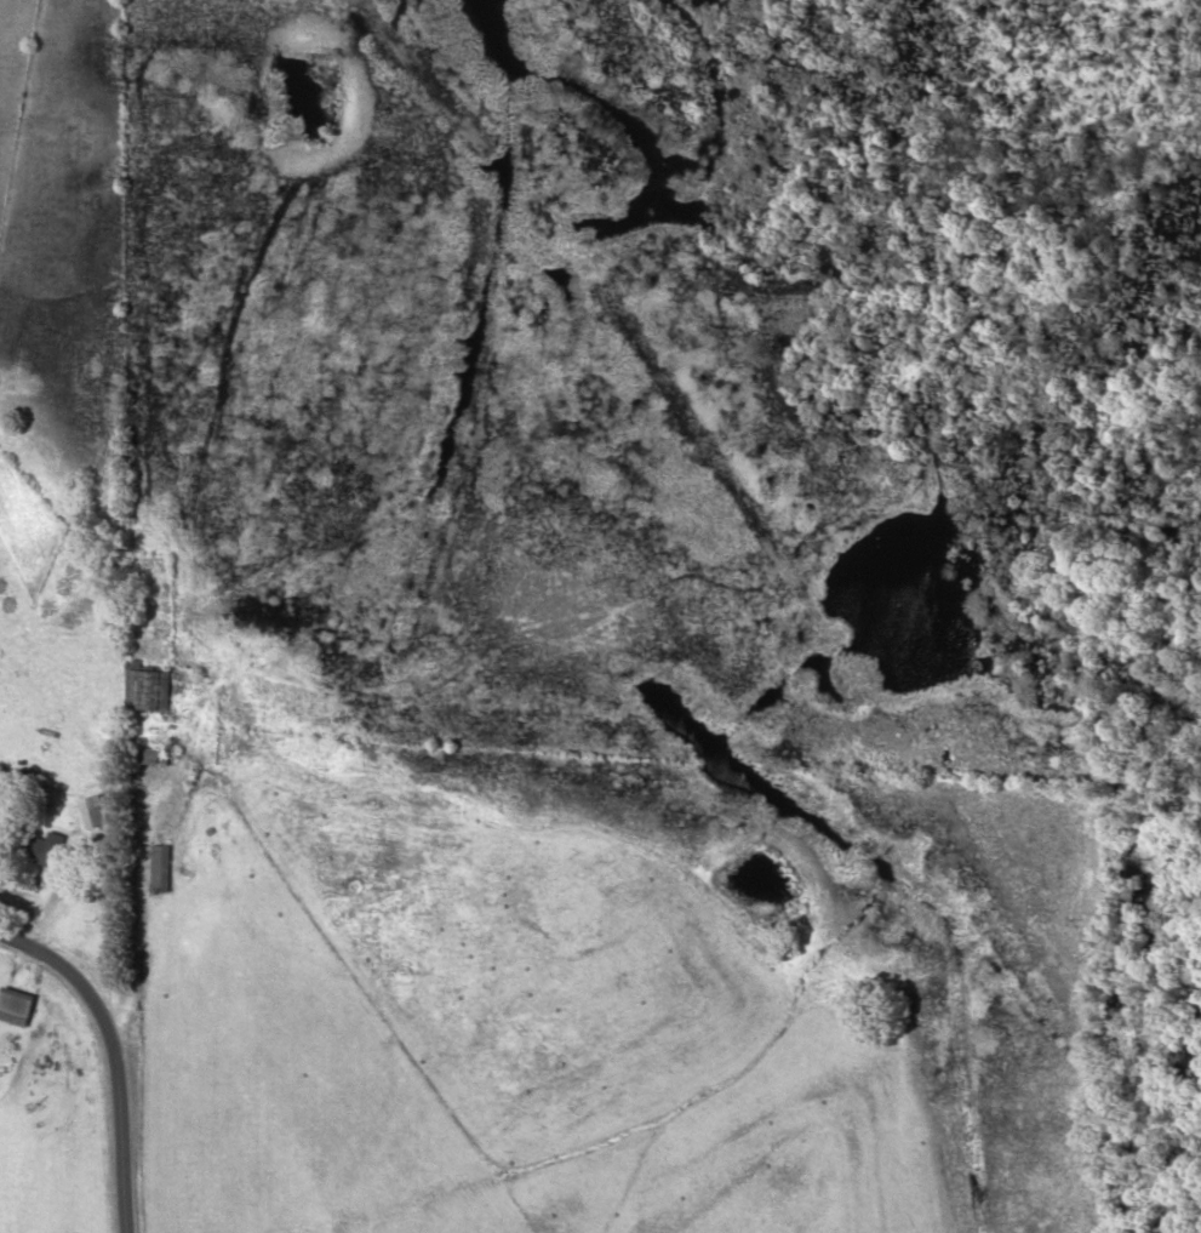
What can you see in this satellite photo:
building: (145, 687)
building: (151, 755)
building: (91, 812)
building: (45, 854)
building: (160, 869)
building: (15, 1006)
road: (115, 1057)

